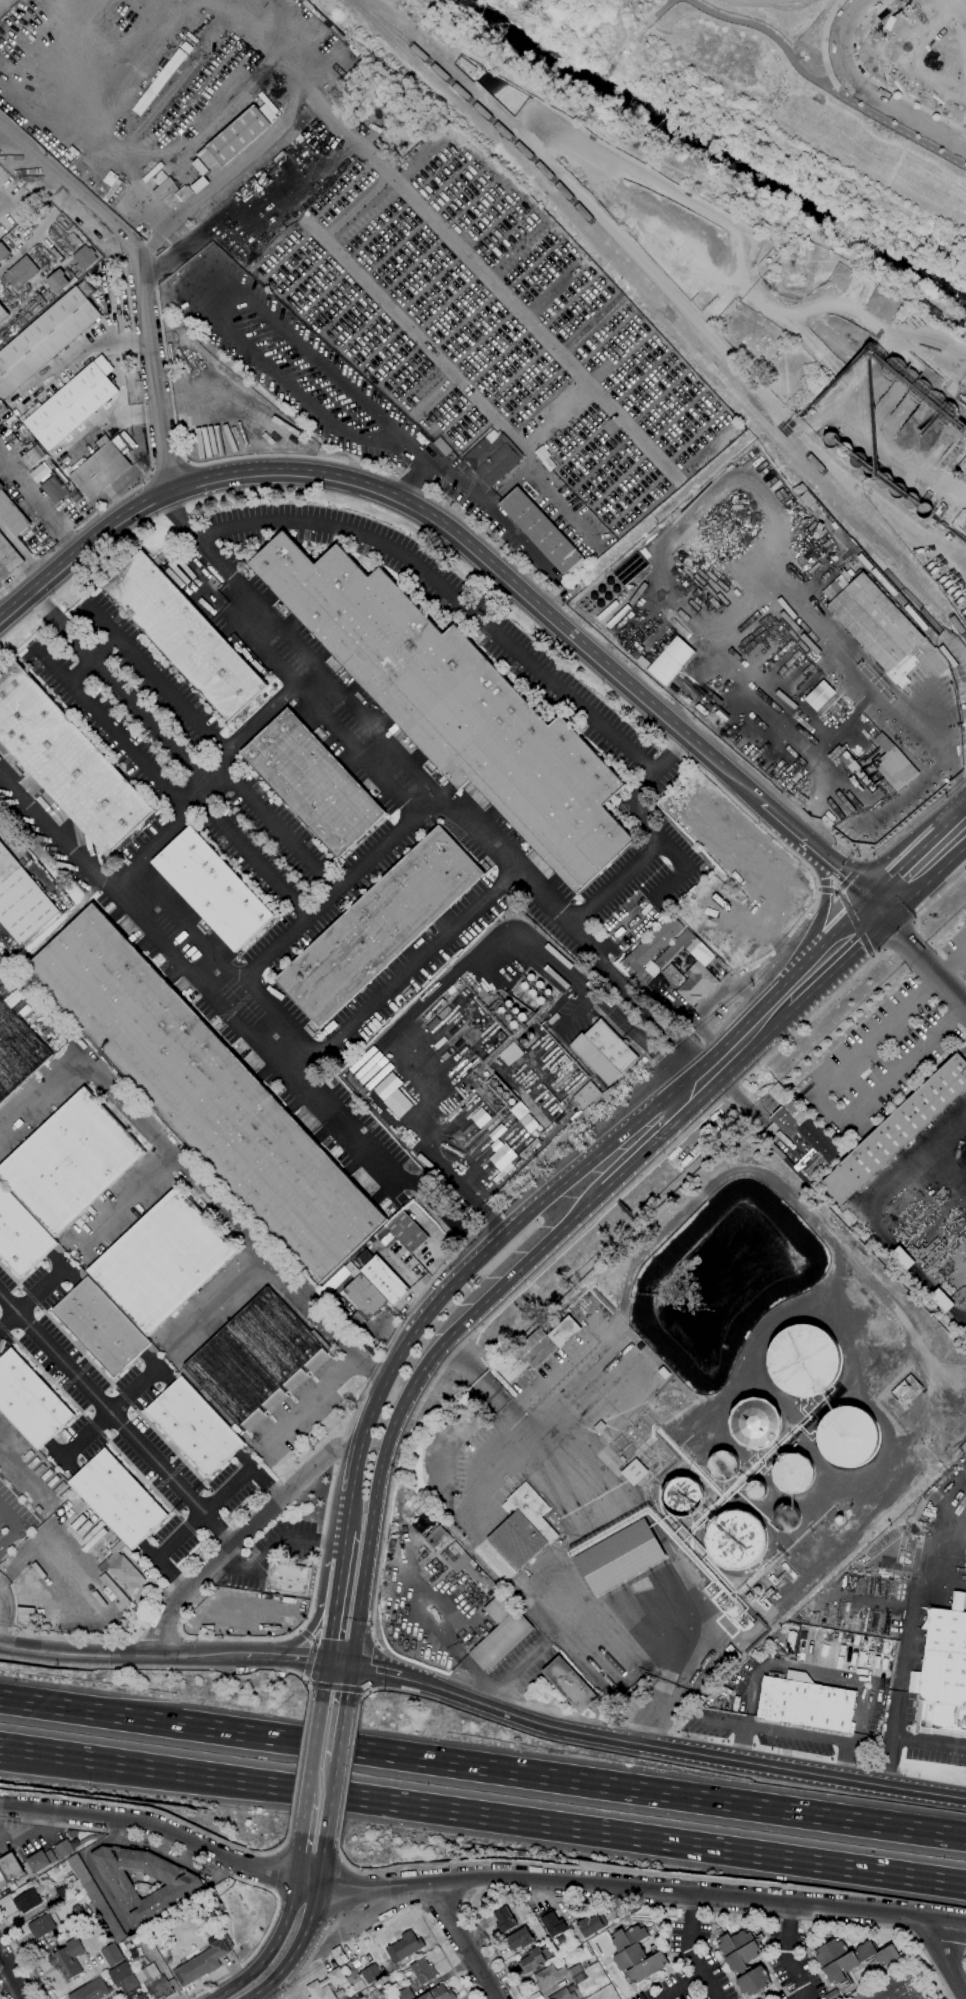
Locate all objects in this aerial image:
road: (200, 11)
road: (822, 46)
road: (86, 56)
road: (875, 80)
road: (823, 86)
road: (867, 93)
road: (957, 131)
building: (238, 133)
river: (742, 156)
road: (233, 171)
road: (394, 180)
building: (162, 187)
building: (183, 193)
railway: (566, 194)
road: (139, 196)
building: (23, 224)
building: (806, 234)
road: (193, 242)
building: (3, 251)
road: (742, 257)
building: (84, 258)
building: (20, 273)
road: (181, 274)
road: (140, 278)
building: (57, 281)
road: (662, 288)
railway: (645, 301)
railway: (658, 302)
road: (393, 311)
building: (3, 314)
building: (46, 338)
building: (893, 369)
storage tank: (893, 369)
building: (920, 391)
storage tank: (920, 391)
parking lot: (342, 402)
building: (72, 404)
building: (2, 409)
road: (143, 416)
road: (553, 416)
building: (16, 425)
building: (23, 431)
road: (506, 435)
building: (11, 440)
building: (831, 440)
storage tank: (831, 440)
building: (441, 446)
building: (844, 450)
storage tank: (844, 450)
road: (883, 451)
road: (292, 456)
building: (32, 457)
building: (492, 458)
building: (544, 458)
building: (858, 459)
storage tank: (858, 459)
road: (186, 462)
building: (962, 465)
building: (102, 467)
road: (168, 469)
building: (870, 470)
storage tank: (870, 470)
road: (460, 471)
building: (38, 473)
building: (958, 474)
road: (149, 476)
road: (414, 481)
building: (883, 481)
storage tank: (883, 481)
road: (477, 487)
building: (53, 490)
road: (540, 491)
building: (897, 491)
storage tank: (897, 491)
building: (911, 500)
storage tank: (911, 500)
road: (40, 502)
road: (409, 505)
road: (487, 507)
building: (925, 510)
storage tank: (925, 510)
building: (12, 516)
building: (543, 533)
road: (50, 549)
road: (22, 554)
building: (8, 558)
building: (159, 558)
road: (888, 577)
road: (750, 581)
road: (224, 590)
road: (448, 593)
road: (6, 600)
building: (954, 605)
road: (101, 622)
building: (880, 628)
building: (184, 636)
road: (291, 642)
road: (89, 660)
building: (671, 661)
building: (642, 662)
road: (859, 662)
road: (51, 666)
road: (301, 691)
building: (819, 696)
building: (684, 698)
building: (455, 707)
building: (722, 714)
road: (377, 731)
road: (166, 739)
building: (66, 762)
building: (893, 764)
building: (858, 773)
road: (753, 775)
building: (312, 783)
road: (855, 785)
road: (913, 788)
road: (816, 791)
road: (277, 827)
road: (54, 831)
road: (249, 854)
road: (822, 854)
road: (862, 861)
building: (483, 866)
road: (921, 868)
road: (679, 869)
road: (844, 883)
road: (337, 887)
building: (212, 888)
road: (819, 890)
road: (939, 895)
building: (21, 899)
road: (762, 900)
road: (595, 905)
road: (823, 910)
traffic signals: (877, 912)
road: (913, 922)
road: (854, 923)
parking lot: (0, 926)
building: (379, 926)
road: (897, 936)
building: (655, 940)
building: (11, 947)
building: (676, 948)
road: (883, 951)
building: (701, 954)
parking lot: (3, 955)
road: (872, 956)
road: (831, 958)
road: (921, 958)
road: (951, 958)
building: (689, 959)
road: (224, 960)
road: (773, 960)
building: (631, 968)
building: (652, 969)
road: (406, 973)
road: (0, 975)
road: (452, 976)
building: (673, 976)
building: (696, 984)
road: (640, 1001)
road: (965, 1002)
building: (441, 1014)
building: (426, 1027)
road: (255, 1037)
road: (735, 1049)
building: (17, 1052)
building: (603, 1052)
building: (386, 1086)
building: (205, 1093)
building: (586, 1094)
road: (39, 1096)
building: (397, 1104)
road: (824, 1106)
building: (519, 1111)
building: (785, 1111)
building: (896, 1131)
building: (496, 1132)
road: (646, 1139)
building: (802, 1143)
road: (936, 1146)
building: (528, 1148)
building: (502, 1158)
building: (70, 1162)
building: (502, 1173)
road: (190, 1178)
road: (884, 1185)
road: (131, 1198)
building: (408, 1232)
building: (21, 1235)
building: (383, 1237)
road: (492, 1247)
road: (552, 1259)
building: (902, 1259)
building: (162, 1261)
building: (341, 1276)
building: (380, 1276)
road: (30, 1297)
building: (364, 1299)
building: (941, 1301)
road: (481, 1305)
road: (221, 1307)
road: (964, 1313)
building: (101, 1326)
building: (537, 1348)
building: (804, 1360)
building: (257, 1361)
building: (906, 1391)
road: (316, 1396)
building: (29, 1401)
road: (110, 1413)
road: (514, 1418)
road: (117, 1419)
building: (756, 1423)
building: (195, 1427)
building: (848, 1436)
building: (723, 1465)
road: (354, 1471)
building: (634, 1472)
building: (793, 1473)
building: (756, 1490)
building: (683, 1498)
building: (117, 1499)
road: (347, 1511)
road: (202, 1514)
building: (786, 1518)
road: (53, 1520)
building: (423, 1523)
road: (12, 1524)
building: (523, 1528)
road: (242, 1536)
building: (437, 1539)
building: (735, 1539)
road: (342, 1544)
road: (277, 1546)
road: (366, 1555)
building: (619, 1556)
building: (467, 1568)
building: (122, 1569)
building: (288, 1579)
road: (337, 1584)
building: (768, 1593)
road: (312, 1596)
building: (749, 1597)
building: (956, 1600)
building: (766, 1602)
road: (297, 1630)
building: (500, 1632)
road: (304, 1635)
road: (305, 1635)
road: (330, 1635)
road: (181, 1636)
road: (139, 1638)
road: (160, 1638)
road: (907, 1640)
road: (313, 1641)
building: (789, 1642)
road: (454, 1649)
building: (733, 1652)
road: (121, 1656)
road: (284, 1658)
traffic signals: (326, 1662)
road: (338, 1663)
traffic signals: (351, 1664)
road: (375, 1670)
road: (814, 1671)
road: (508, 1676)
road: (672, 1676)
building: (944, 1676)
road: (304, 1680)
road: (306, 1681)
road: (322, 1682)
road: (316, 1684)
building: (569, 1684)
road: (347, 1685)
road: (366, 1691)
road: (362, 1696)
building: (805, 1704)
road: (339, 1735)
road: (797, 1735)
road: (0, 1746)
road: (312, 1747)
road: (679, 1750)
road: (298, 1766)
road: (483, 1768)
road: (348, 1773)
road: (0, 1798)
road: (329, 1800)
road: (302, 1812)
road: (483, 1815)
road: (24, 1830)
road: (47, 1831)
road: (278, 1848)
building: (63, 1849)
road: (296, 1856)
road: (340, 1856)
building: (40, 1861)
building: (9, 1870)
road: (477, 1881)
road: (15, 1885)
building: (182, 1888)
building: (63, 1892)
building: (95, 1898)
building: (26, 1901)
road: (691, 1905)
road: (665, 1907)
road: (789, 1914)
building: (78, 1917)
building: (504, 1920)
building: (553, 1924)
building: (590, 1925)
building: (40, 1926)
road: (307, 1926)
building: (519, 1939)
road: (466, 1942)
building: (403, 1948)
road: (270, 1950)
building: (738, 1950)
building: (635, 1954)
building: (111, 1955)
building: (339, 1956)
road: (24, 1957)
road: (445, 1958)
building: (67, 1959)
building: (849, 1959)
road: (944, 1959)
building: (531, 1960)
road: (691, 1960)
building: (201, 1964)
road: (964, 1964)
road: (793, 1965)
road: (232, 1969)
building: (423, 1971)
building: (574, 1971)
building: (145, 1973)
building: (371, 1974)
road: (13, 1976)
building: (547, 1976)
building: (123, 1977)
building: (753, 1982)
road: (209, 1985)
building: (325, 1985)
road: (678, 1986)
building: (159, 1989)
building: (568, 1989)
building: (91, 1990)
building: (438, 1993)
building: (405, 1994)
building: (831, 1995)
building: (141, 1996)
road: (261, 1996)
building: (352, 1998)

